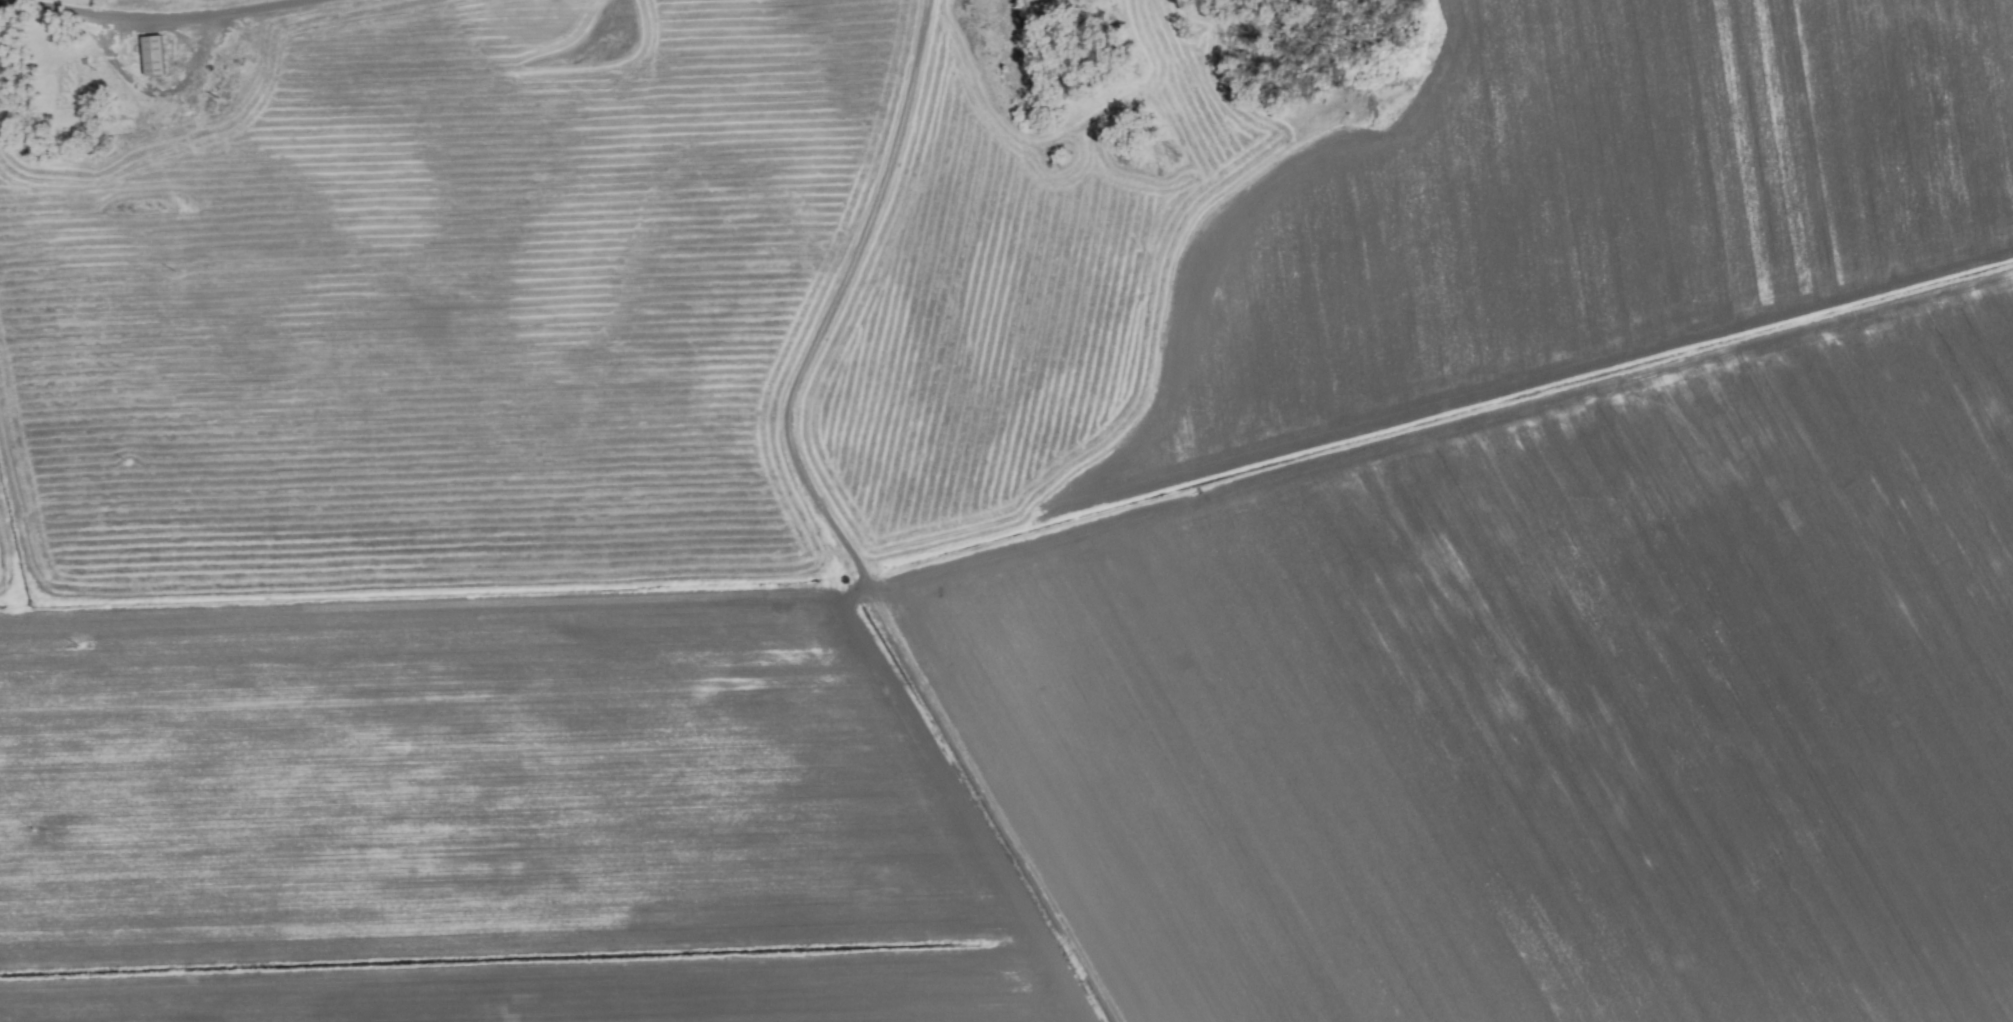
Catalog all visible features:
road: (156, 18)
building: (152, 55)
crop: (1006, 511)

